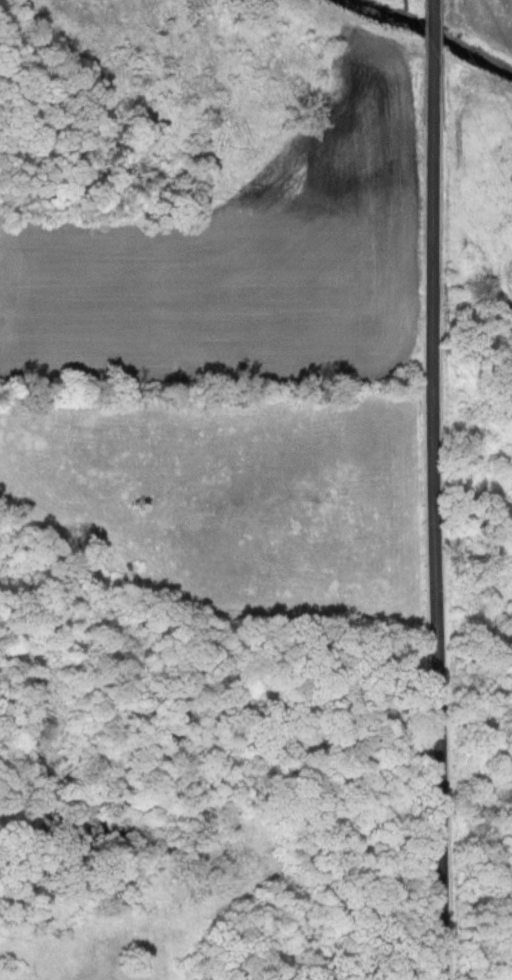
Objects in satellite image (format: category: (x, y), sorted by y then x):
road: (437, 490)

